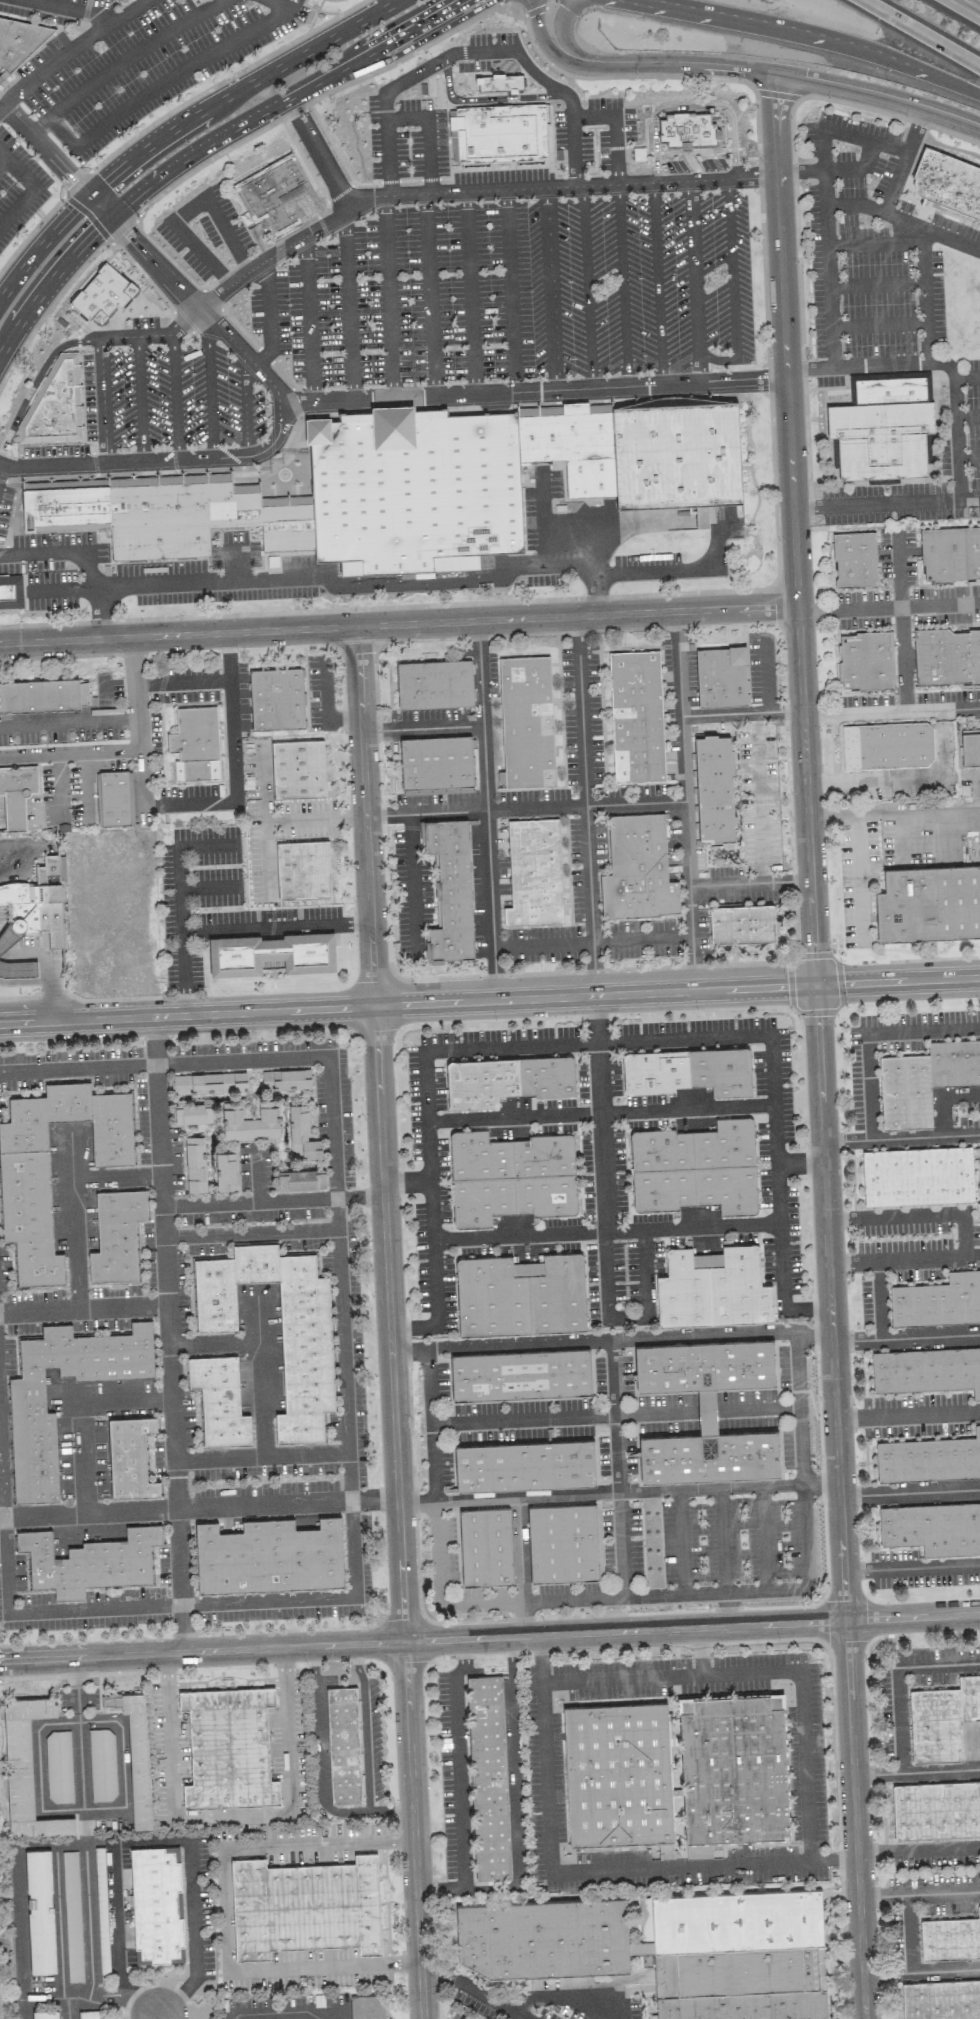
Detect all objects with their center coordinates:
building: (319, 0)
road: (386, 4)
road: (967, 7)
road: (130, 9)
road: (524, 14)
road: (559, 25)
road: (921, 33)
road: (90, 34)
road: (811, 34)
road: (540, 35)
building: (19, 42)
parking lot: (485, 50)
road: (476, 51)
road: (122, 60)
road: (776, 73)
road: (170, 76)
road: (640, 76)
road: (238, 90)
road: (484, 97)
road: (283, 100)
road: (689, 106)
road: (168, 115)
road: (592, 117)
road: (405, 118)
road: (915, 128)
building: (500, 130)
building: (689, 130)
road: (843, 134)
road: (45, 151)
road: (318, 153)
road: (428, 155)
road: (387, 157)
road: (3, 162)
road: (856, 167)
road: (800, 170)
building: (947, 181)
traffic signals: (104, 182)
traffic signals: (75, 183)
road: (34, 187)
road: (416, 194)
building: (278, 196)
road: (836, 204)
road: (99, 206)
road: (900, 219)
traffic signals: (123, 230)
traffic signals: (95, 232)
road: (229, 233)
building: (191, 237)
road: (874, 243)
road: (41, 248)
road: (199, 251)
road: (695, 281)
road: (50, 283)
road: (657, 283)
road: (876, 284)
road: (623, 285)
road: (732, 286)
road: (827, 286)
road: (587, 287)
road: (550, 289)
road: (509, 292)
road: (469, 293)
road: (429, 294)
road: (924, 294)
road: (389, 295)
road: (348, 305)
road: (49, 310)
road: (267, 315)
road: (307, 319)
parking lot: (405, 322)
road: (878, 323)
road: (875, 365)
road: (809, 368)
road: (967, 377)
road: (38, 379)
road: (209, 384)
road: (175, 397)
road: (404, 397)
road: (140, 399)
road: (103, 401)
building: (55, 405)
road: (245, 408)
road: (955, 416)
road: (968, 417)
building: (882, 425)
building: (565, 438)
building: (834, 453)
building: (928, 454)
building: (677, 455)
road: (211, 458)
road: (968, 458)
road: (0, 465)
road: (52, 466)
building: (57, 484)
building: (414, 490)
road: (894, 502)
parking lot: (569, 505)
building: (66, 509)
building: (701, 517)
building: (195, 519)
road: (60, 552)
building: (950, 554)
building: (855, 559)
road: (711, 560)
road: (237, 562)
road: (560, 562)
road: (639, 573)
road: (207, 580)
road: (420, 584)
road: (63, 589)
building: (11, 592)
road: (596, 595)
road: (888, 608)
road: (99, 613)
road: (900, 622)
road: (398, 625)
building: (947, 656)
building: (866, 660)
road: (679, 663)
building: (721, 677)
road: (182, 682)
building: (434, 684)
building: (43, 696)
building: (277, 699)
road: (891, 712)
building: (636, 716)
road: (69, 721)
building: (526, 722)
road: (422, 728)
road: (682, 740)
building: (195, 741)
building: (887, 745)
road: (126, 749)
building: (970, 749)
building: (436, 765)
building: (298, 769)
road: (946, 772)
road: (584, 778)
road: (848, 787)
building: (714, 788)
road: (234, 790)
building: (17, 793)
road: (264, 793)
building: (114, 797)
road: (525, 809)
road: (930, 812)
road: (843, 815)
road: (316, 818)
road: (267, 853)
building: (637, 868)
building: (303, 870)
building: (534, 873)
road: (412, 879)
road: (490, 884)
road: (697, 886)
building: (450, 887)
road: (210, 889)
building: (36, 903)
building: (929, 903)
road: (183, 906)
building: (741, 924)
road: (278, 928)
road: (2, 947)
building: (272, 954)
road: (593, 969)
road: (47, 970)
road: (494, 974)
traffic signals: (815, 985)
road: (489, 1000)
road: (595, 1019)
road: (870, 1032)
road: (597, 1041)
road: (818, 1046)
road: (312, 1059)
road: (79, 1069)
building: (688, 1071)
building: (286, 1079)
building: (506, 1080)
building: (924, 1080)
building: (208, 1083)
road: (943, 1100)
road: (598, 1110)
building: (192, 1114)
building: (250, 1121)
building: (301, 1134)
road: (901, 1136)
road: (799, 1163)
building: (195, 1164)
building: (695, 1168)
building: (225, 1171)
building: (917, 1176)
building: (24, 1177)
building: (510, 1177)
road: (600, 1178)
building: (301, 1180)
road: (405, 1182)
road: (75, 1202)
road: (276, 1202)
road: (911, 1215)
road: (603, 1228)
building: (116, 1235)
road: (169, 1244)
road: (904, 1258)
road: (644, 1269)
building: (713, 1288)
building: (520, 1295)
building: (938, 1301)
road: (389, 1322)
road: (906, 1335)
road: (611, 1340)
road: (348, 1342)
road: (266, 1357)
building: (926, 1370)
building: (307, 1371)
building: (520, 1375)
building: (26, 1396)
building: (219, 1400)
road: (175, 1403)
road: (767, 1409)
building: (706, 1411)
road: (84, 1417)
road: (908, 1418)
road: (526, 1421)
road: (3, 1438)
building: (130, 1457)
building: (929, 1459)
building: (525, 1465)
road: (620, 1469)
road: (909, 1491)
road: (618, 1494)
road: (220, 1508)
road: (95, 1514)
building: (932, 1527)
road: (765, 1540)
road: (723, 1542)
building: (563, 1543)
road: (681, 1543)
building: (485, 1546)
road: (524, 1550)
building: (269, 1556)
building: (89, 1561)
road: (911, 1565)
road: (629, 1597)
road: (316, 1600)
road: (52, 1611)
road: (728, 1611)
road: (525, 1619)
road: (490, 1638)
road: (701, 1653)
road: (766, 1673)
road: (896, 1701)
building: (942, 1719)
road: (80, 1722)
road: (365, 1728)
road: (970, 1742)
building: (343, 1745)
building: (229, 1749)
road: (81, 1751)
building: (138, 1758)
road: (515, 1763)
building: (102, 1764)
road: (459, 1765)
building: (58, 1766)
road: (124, 1768)
road: (940, 1768)
building: (26, 1770)
road: (40, 1771)
road: (322, 1771)
building: (732, 1771)
building: (617, 1774)
building: (488, 1777)
road: (85, 1808)
building: (936, 1809)
road: (233, 1815)
road: (107, 1843)
road: (918, 1847)
road: (586, 1873)
road: (919, 1892)
building: (156, 1904)
building: (72, 1906)
building: (305, 1906)
building: (40, 1911)
road: (224, 1913)
road: (89, 1920)
road: (116, 1923)
road: (60, 1931)
road: (24, 1932)
road: (196, 1936)
building: (950, 1937)
building: (666, 1948)
road: (921, 1969)
road: (473, 1989)
road: (99, 1996)
road: (573, 1999)
building: (941, 1999)
building: (367, 2006)
road: (146, 2008)
road: (275, 2013)
building: (45, 2014)
road: (157, 2018)

